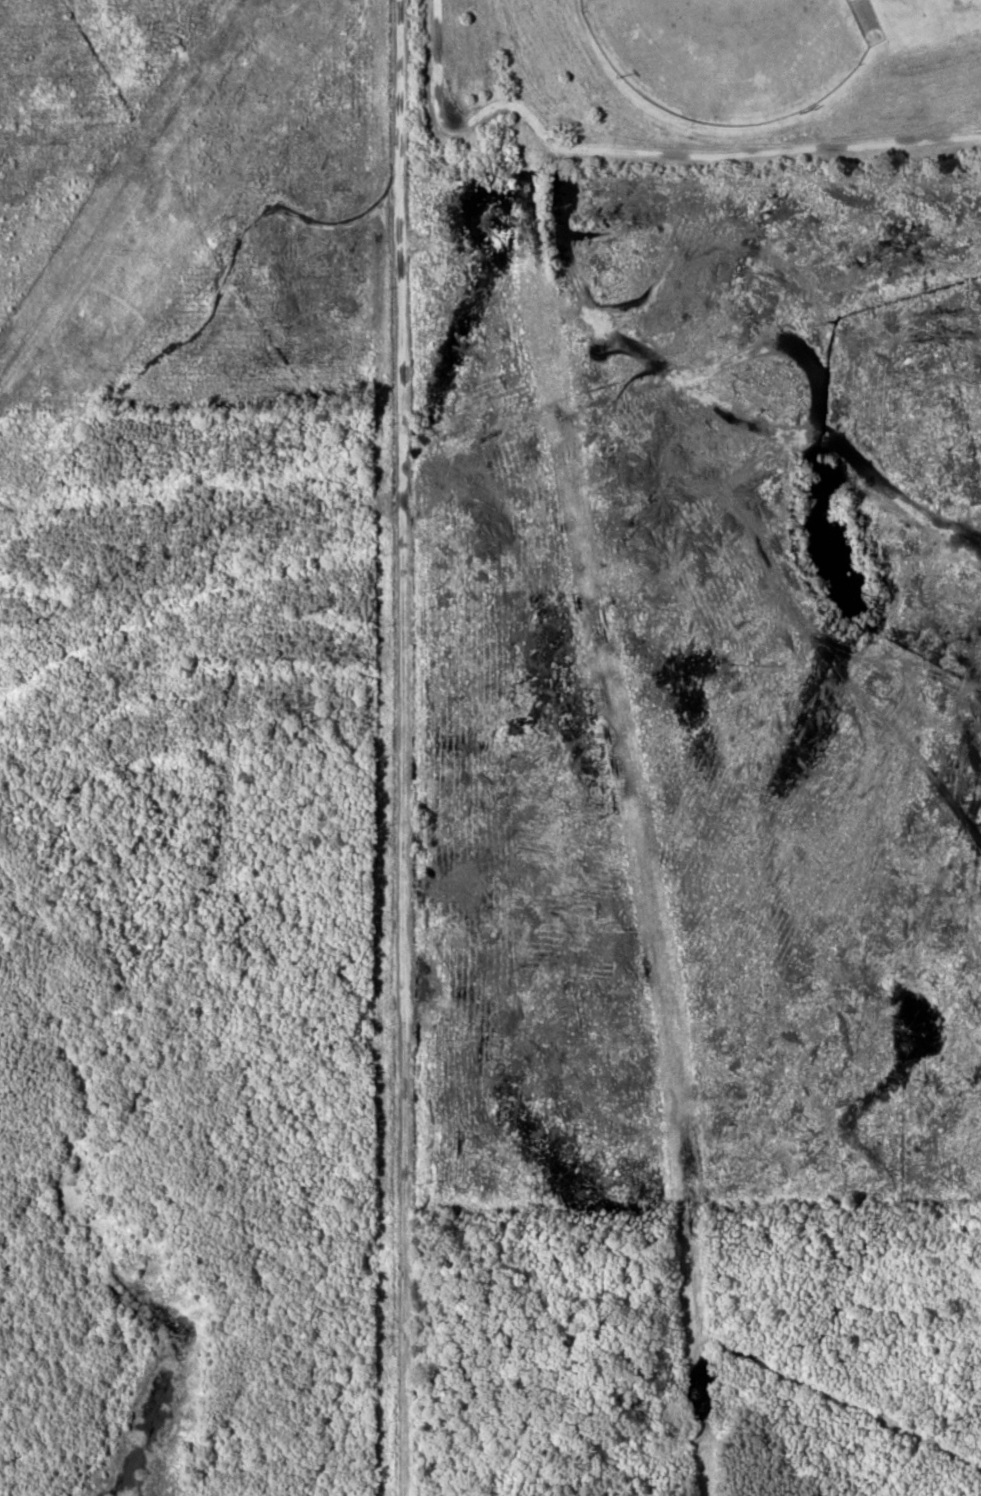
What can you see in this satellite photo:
park: (702, 85)
road: (389, 748)

